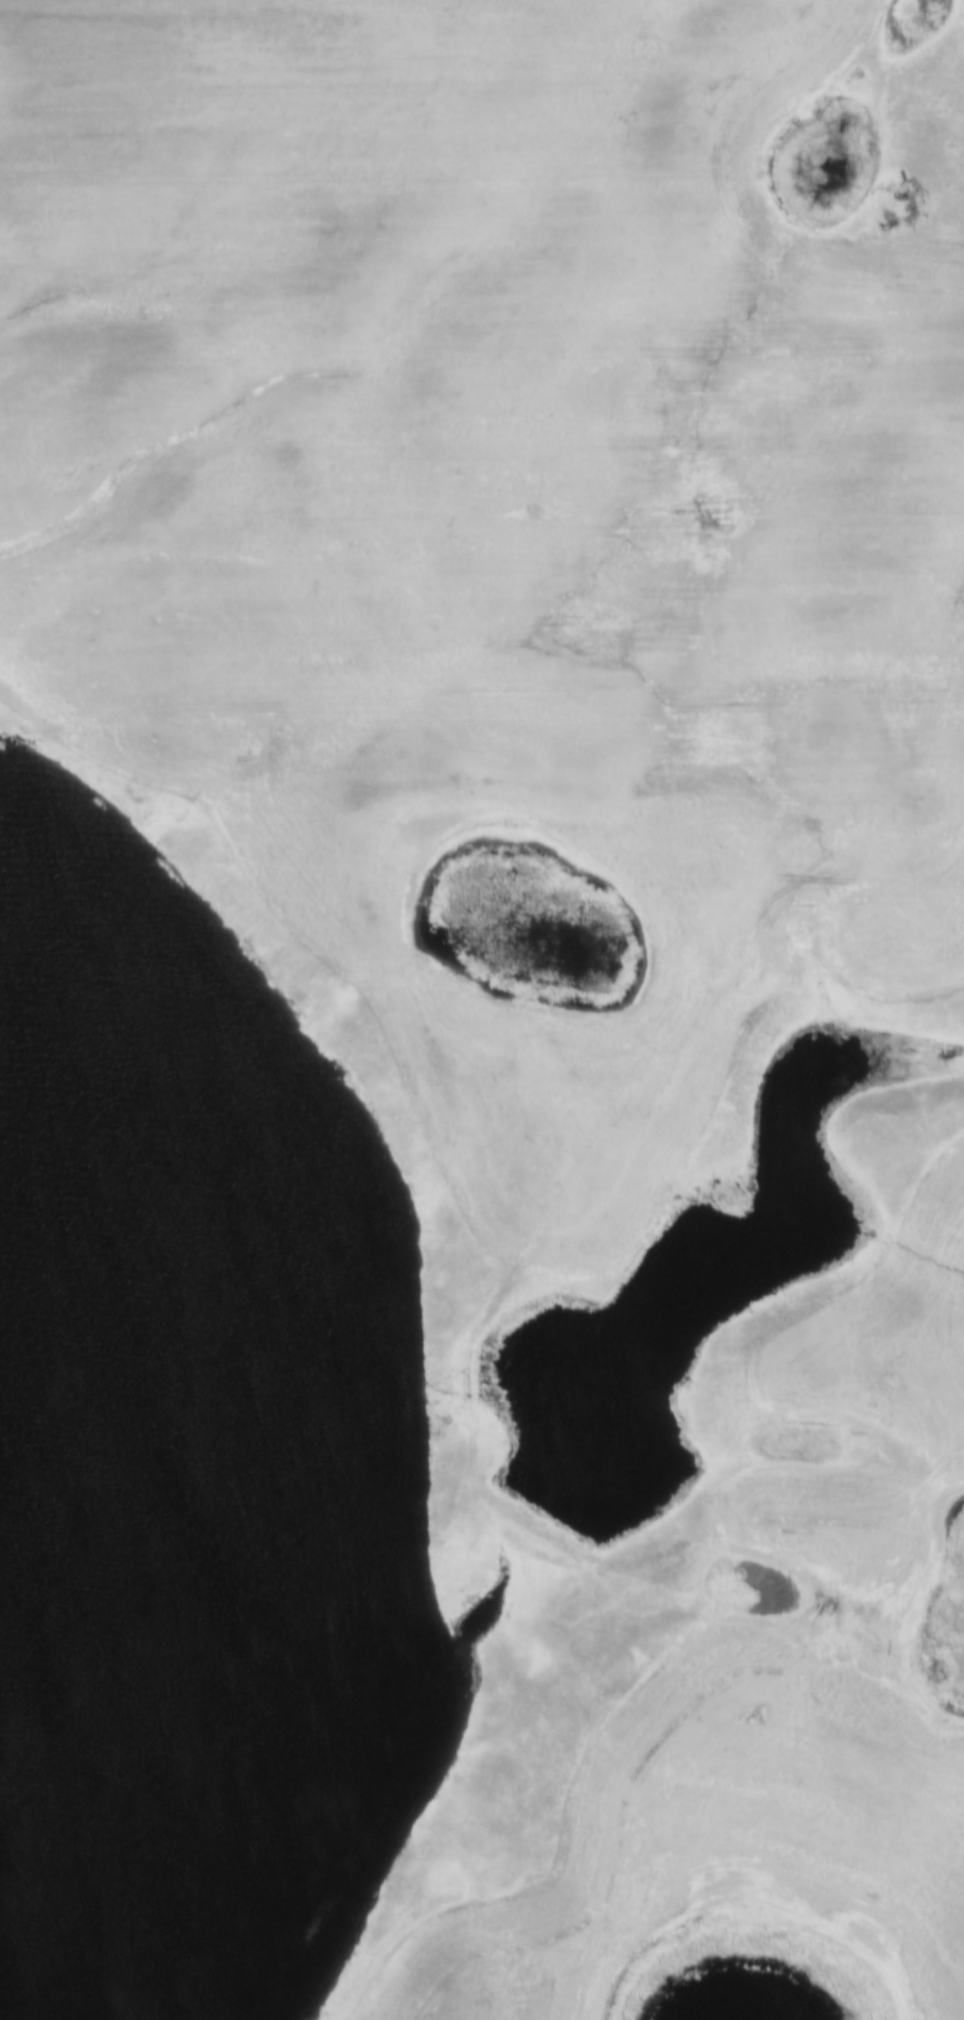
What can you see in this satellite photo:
road: (476, 1428)

